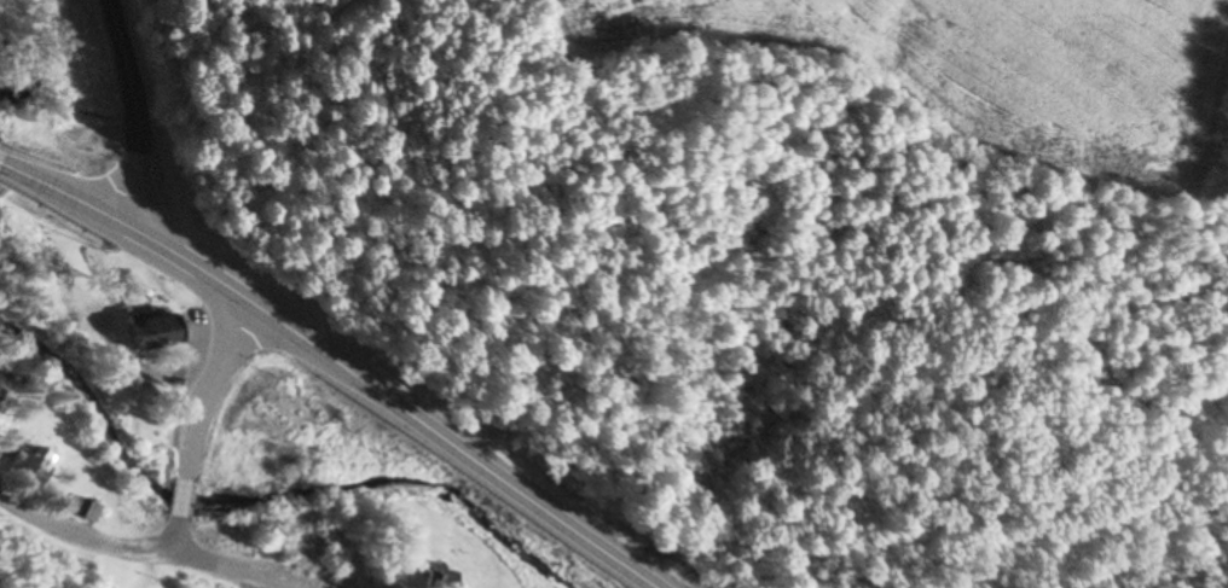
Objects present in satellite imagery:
road: (138, 110)
building: (141, 333)
road: (335, 361)
road: (207, 388)
building: (29, 466)
road: (178, 499)
building: (81, 510)
road: (80, 536)
road: (170, 537)
building: (307, 537)
road: (220, 572)
building: (433, 576)

